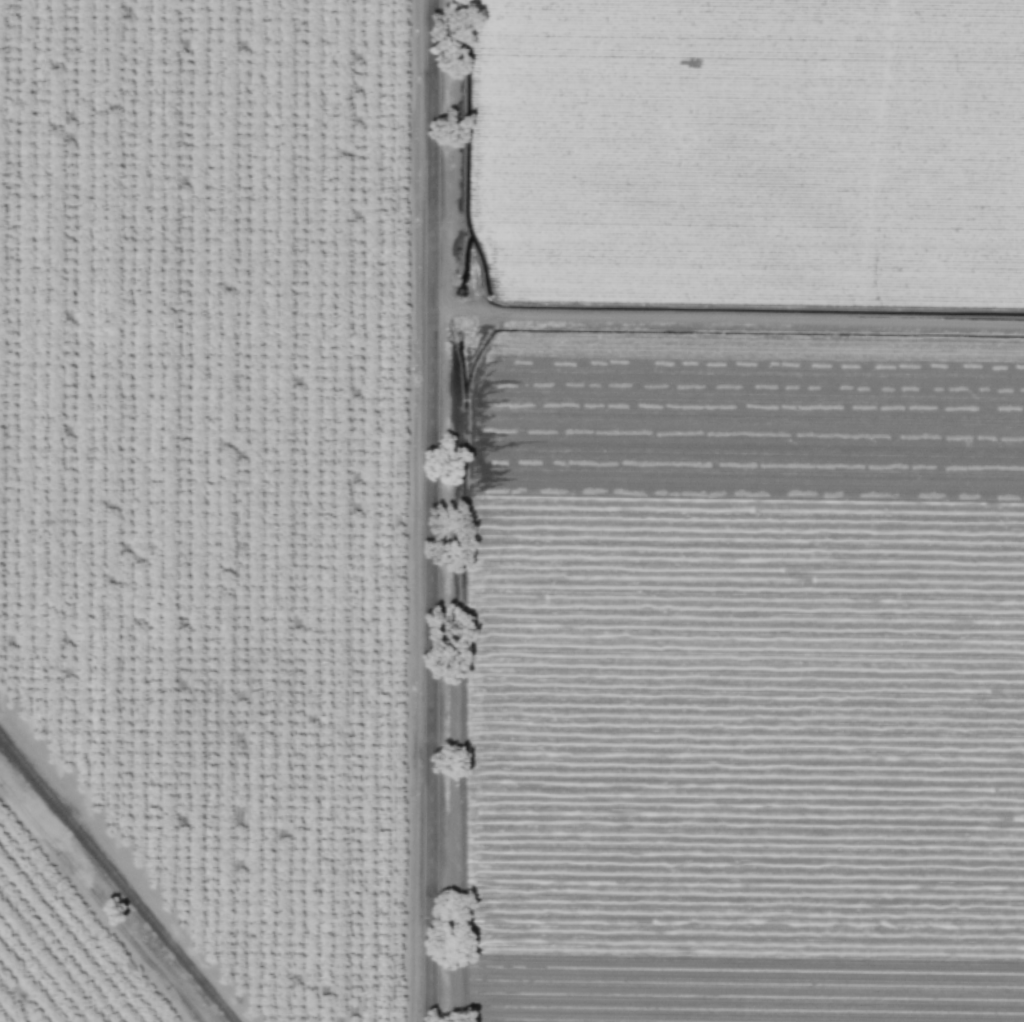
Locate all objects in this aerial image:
road: (430, 511)
railway: (116, 879)

